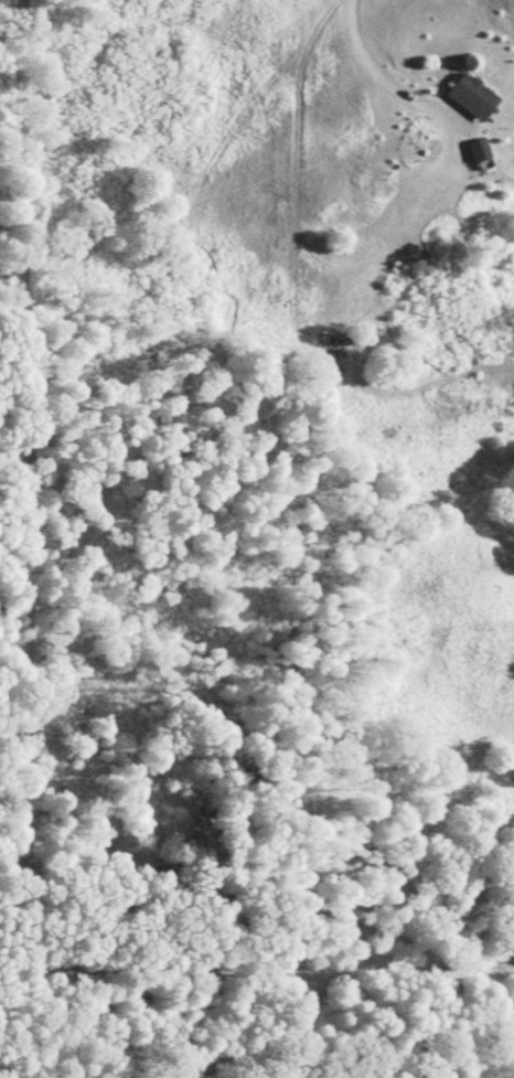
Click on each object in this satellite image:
building: (468, 95)
building: (474, 148)
road: (255, 983)

